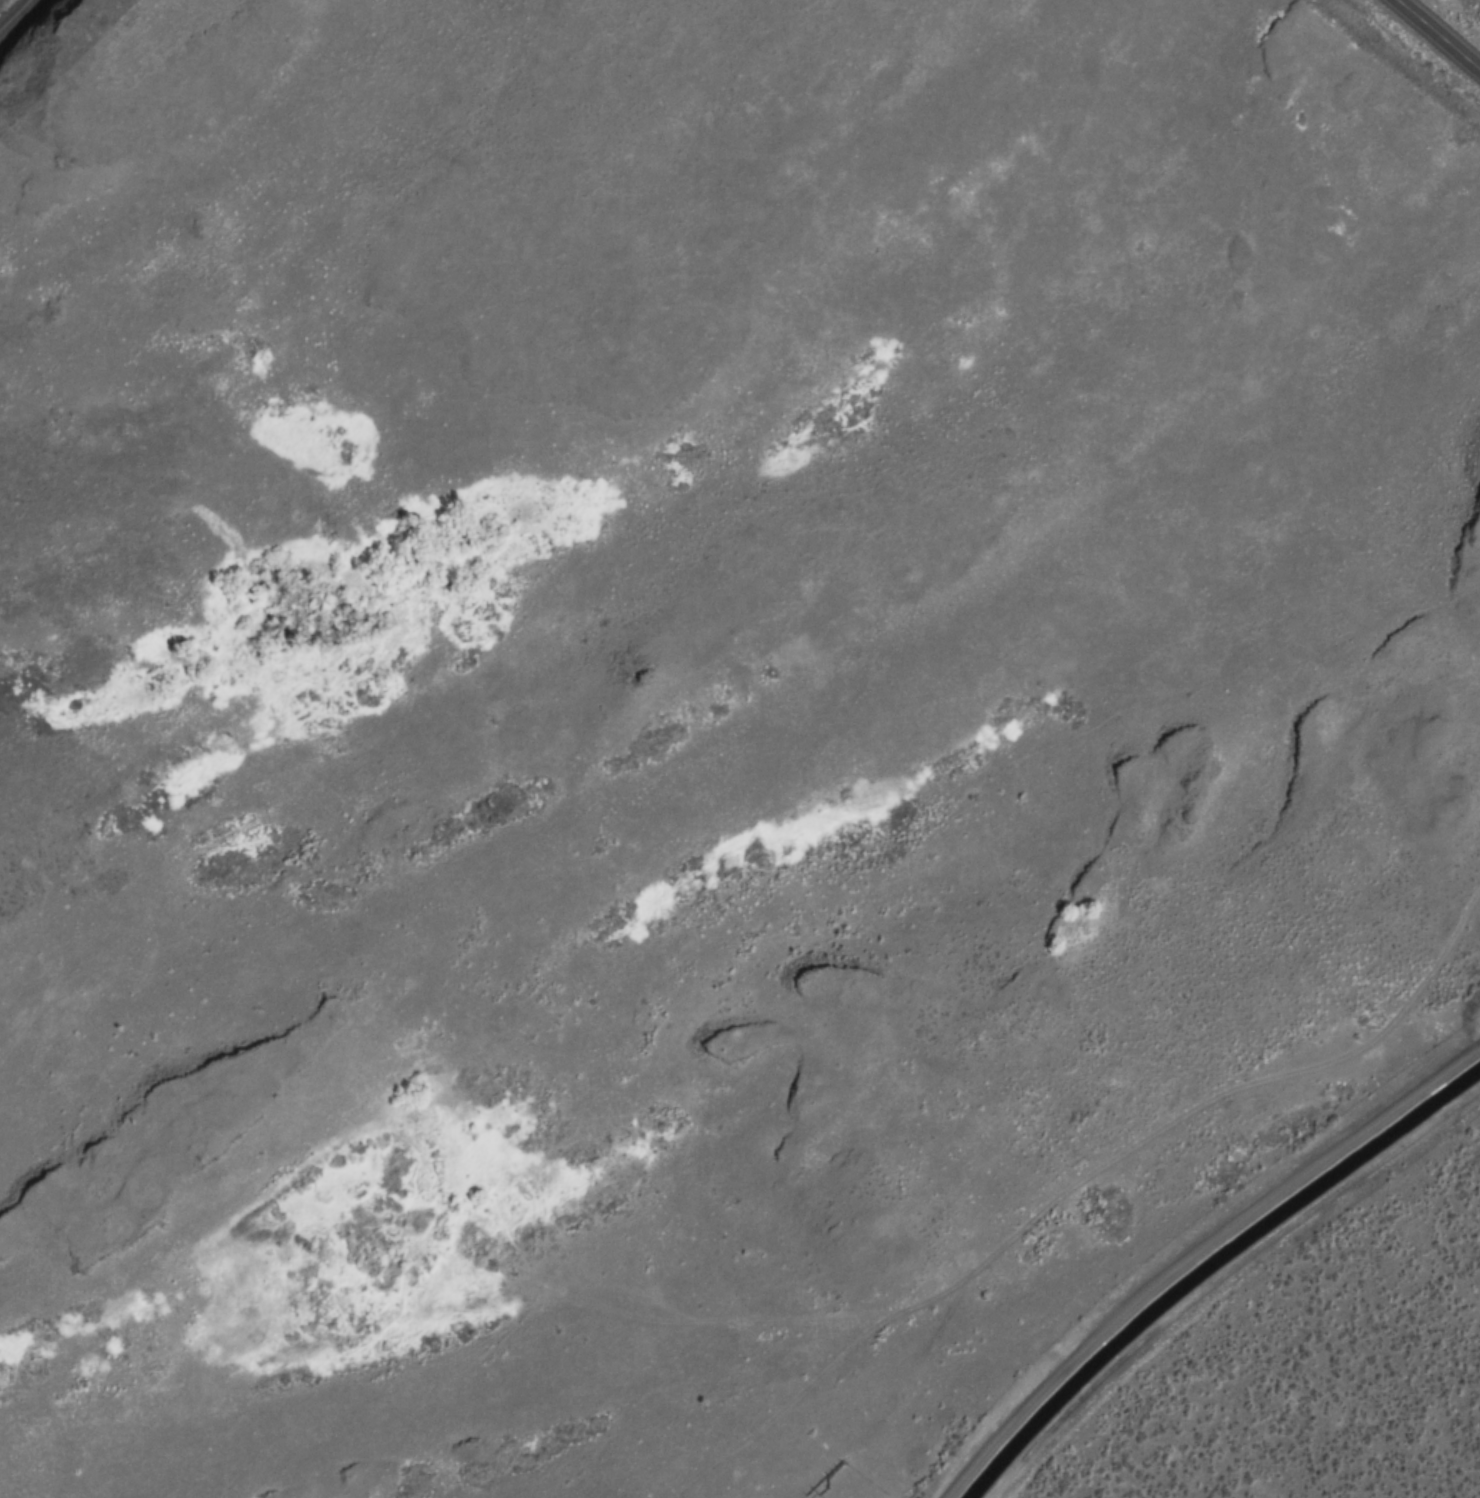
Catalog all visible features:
railway: (13, 13)
road: (1441, 32)

